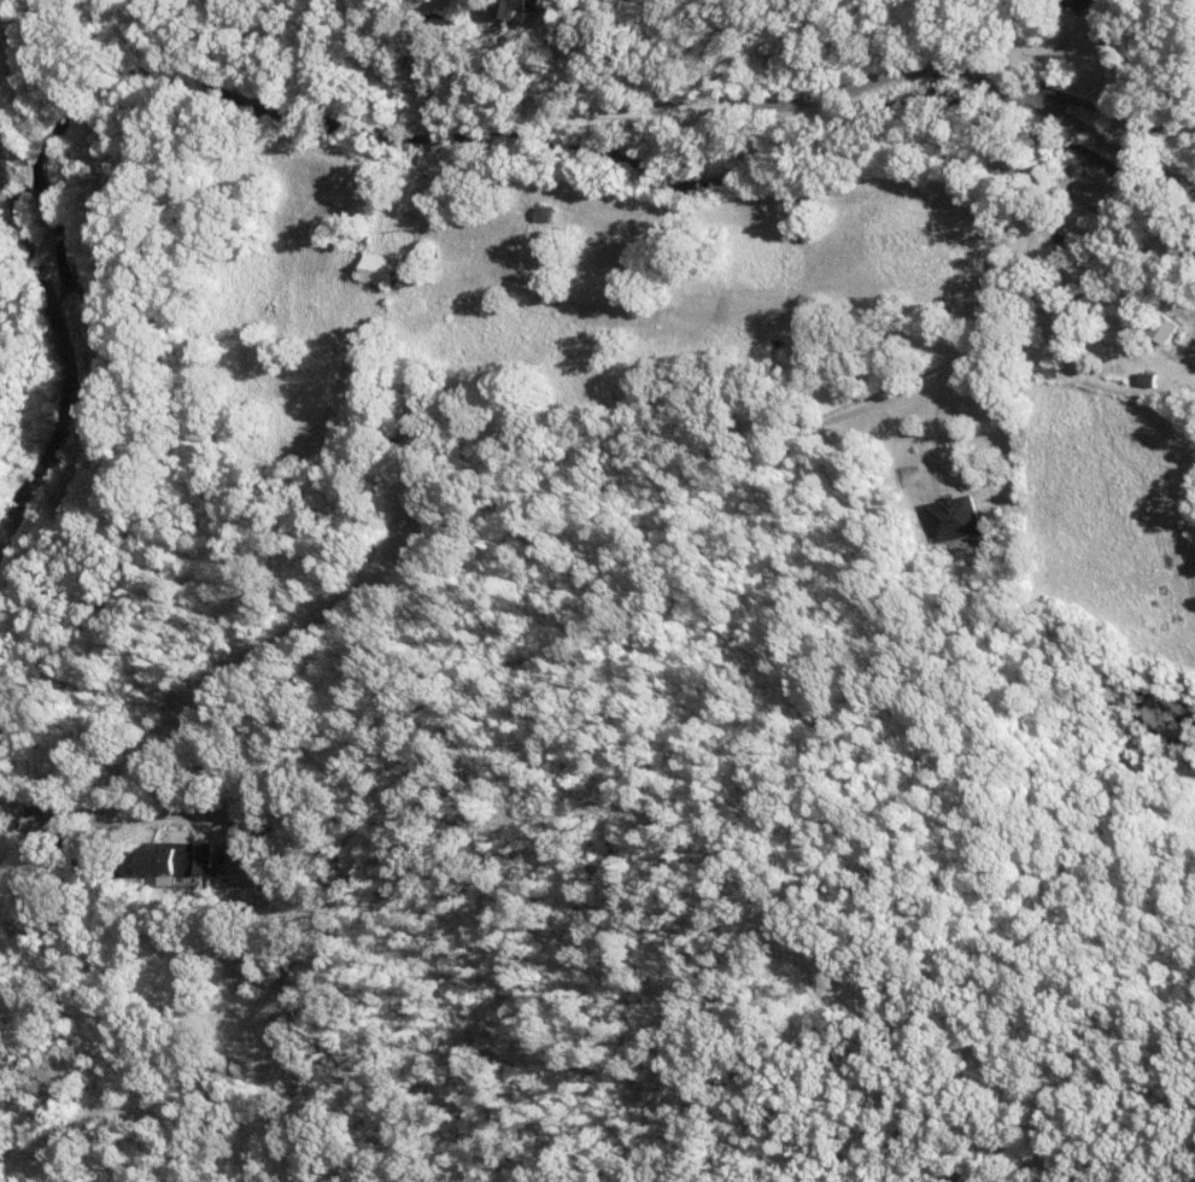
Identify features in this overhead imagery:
building: (1084, 5)
building: (522, 7)
building: (1115, 33)
road: (984, 81)
road: (1014, 107)
road: (519, 109)
road: (1120, 112)
road: (1000, 129)
road: (995, 154)
road: (1108, 220)
building: (383, 270)
river: (68, 328)
building: (1168, 329)
building: (957, 519)
road: (521, 526)
building: (54, 829)
building: (186, 861)

